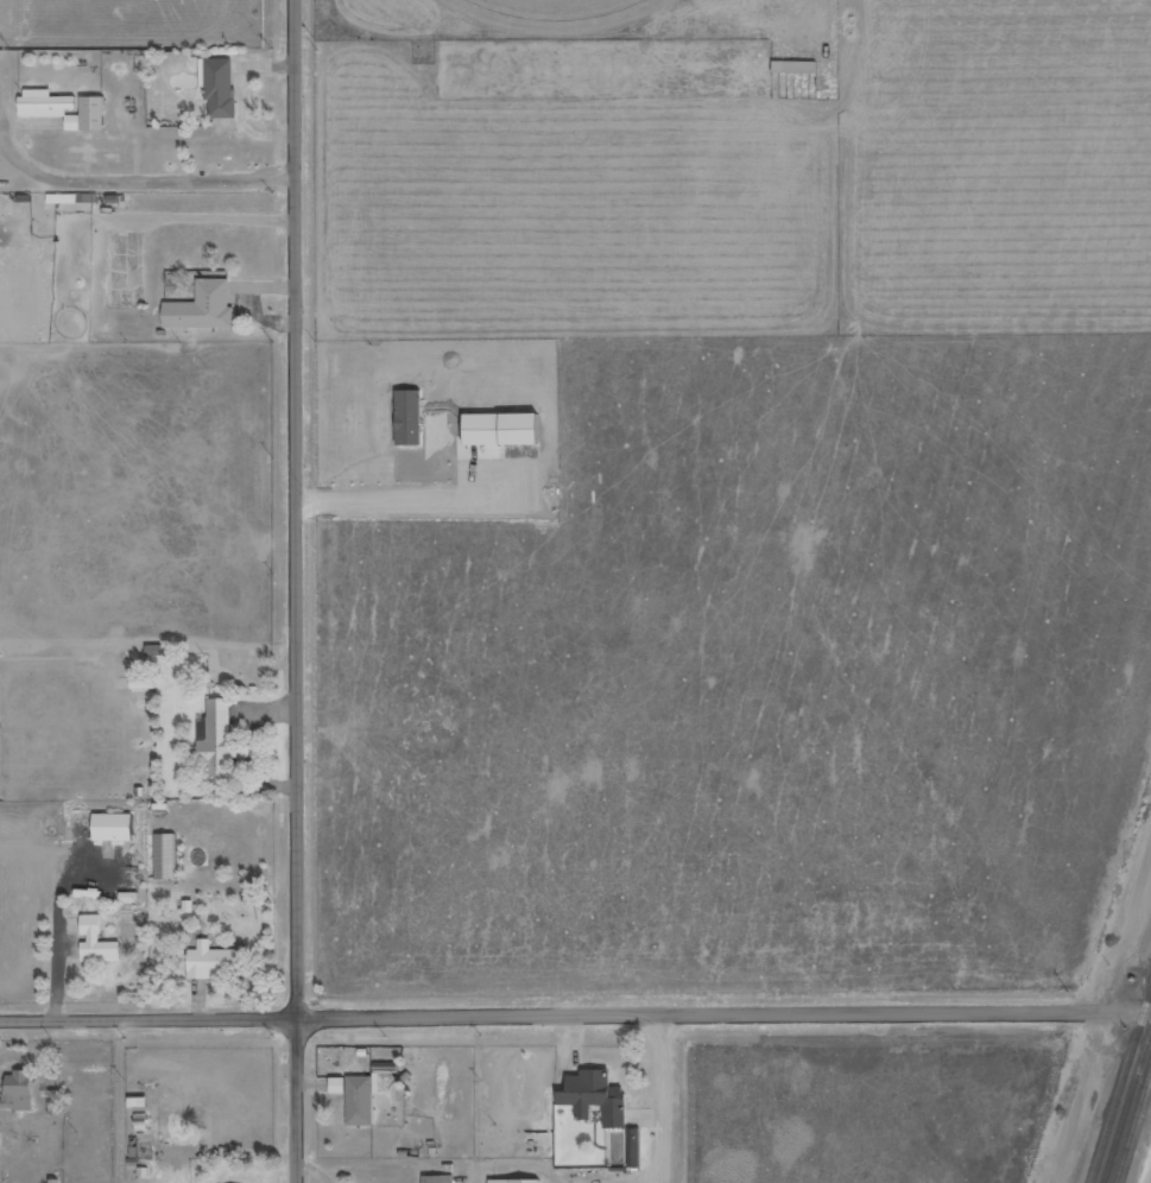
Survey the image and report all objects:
building: (796, 67)
building: (221, 88)
building: (46, 103)
building: (89, 115)
building: (203, 308)
building: (505, 429)
road: (297, 591)
building: (154, 651)
building: (219, 744)
building: (115, 827)
building: (166, 856)
building: (99, 942)
building: (216, 962)
road: (575, 1012)
building: (20, 1092)
railway: (1124, 1092)
building: (597, 1096)
building: (358, 1097)
road: (664, 1097)
railway: (1128, 1111)
railway: (1136, 1131)
building: (0, 1144)
building: (439, 1178)
building: (517, 1181)

